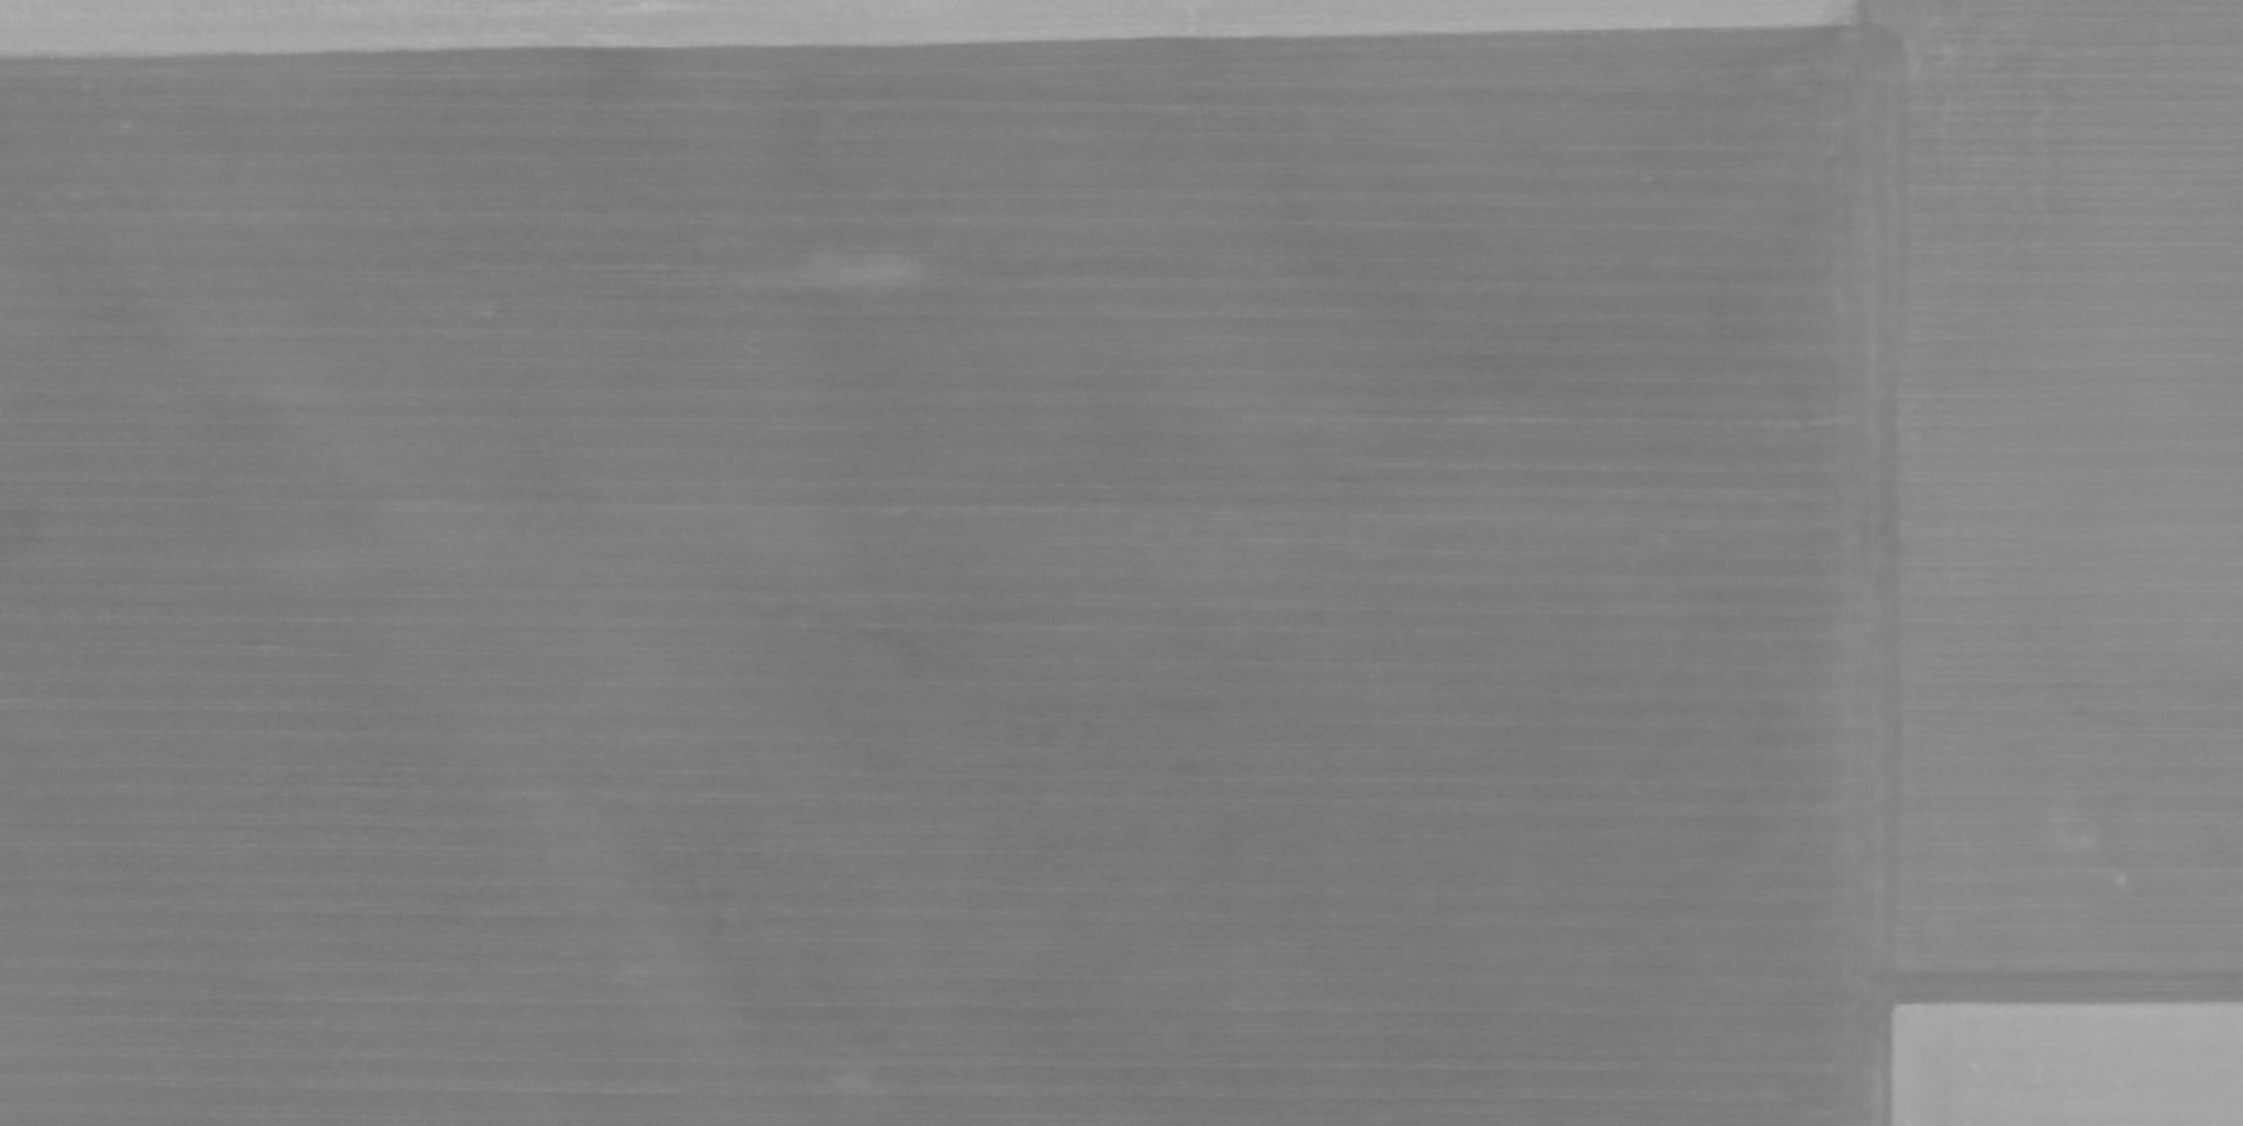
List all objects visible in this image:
crop: (1121, 563)

